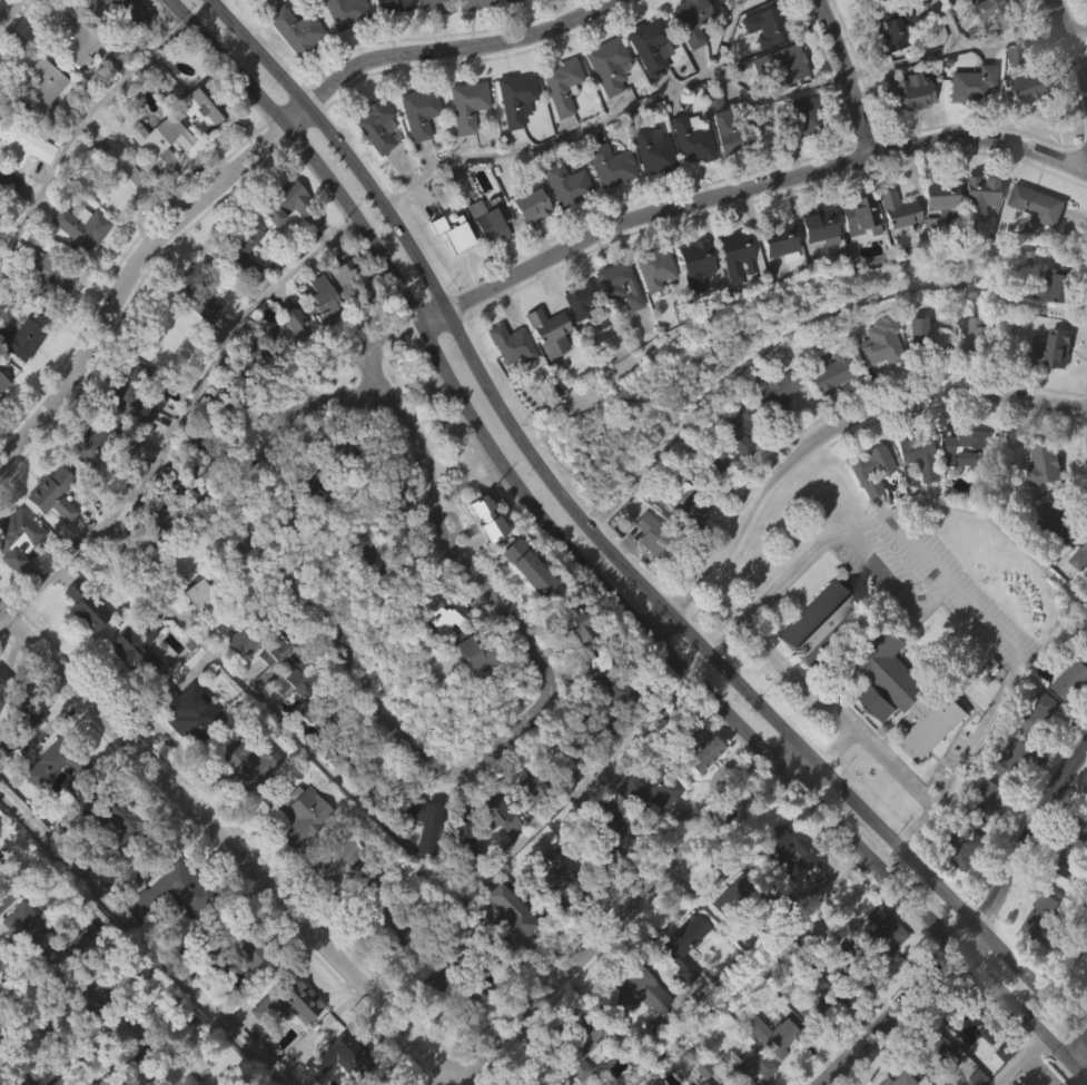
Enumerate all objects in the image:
building: (859, 0)
building: (506, 1)
building: (869, 1)
building: (583, 2)
building: (473, 3)
building: (391, 4)
building: (432, 4)
building: (553, 9)
building: (127, 10)
building: (342, 11)
building: (1001, 11)
building: (1083, 12)
building: (979, 13)
road: (9, 16)
building: (691, 20)
road: (946, 21)
building: (743, 22)
building: (765, 23)
building: (290, 27)
building: (895, 27)
building: (424, 29)
road: (1079, 34)
building: (383, 36)
building: (471, 37)
building: (82, 38)
road: (1070, 38)
building: (111, 43)
building: (645, 43)
road: (958, 43)
building: (337, 46)
building: (991, 51)
building: (685, 60)
building: (779, 62)
building: (604, 63)
building: (760, 68)
building: (888, 69)
building: (290, 71)
road: (849, 77)
building: (46, 82)
building: (560, 83)
building: (969, 83)
building: (1030, 85)
building: (645, 87)
building: (75, 88)
building: (913, 91)
building: (1007, 97)
building: (515, 99)
building: (205, 103)
building: (778, 103)
building: (463, 105)
building: (78, 107)
building: (602, 107)
building: (416, 111)
road: (613, 112)
building: (797, 118)
building: (967, 125)
building: (377, 126)
building: (39, 127)
building: (556, 127)
building: (1020, 127)
road: (78, 134)
building: (733, 134)
building: (908, 134)
building: (160, 138)
building: (511, 139)
building: (689, 139)
building: (22, 142)
building: (463, 146)
building: (196, 149)
building: (650, 149)
road: (250, 151)
building: (414, 154)
building: (799, 158)
building: (610, 165)
building: (372, 167)
building: (723, 175)
building: (125, 178)
building: (9, 179)
building: (686, 180)
building: (157, 183)
building: (563, 184)
road: (757, 187)
building: (649, 191)
building: (980, 193)
building: (940, 201)
building: (286, 204)
building: (1037, 204)
building: (526, 205)
building: (606, 207)
building: (899, 214)
building: (860, 216)
building: (118, 219)
building: (490, 219)
building: (7, 224)
building: (561, 225)
building: (820, 226)
building: (83, 227)
building: (452, 231)
building: (975, 231)
building: (779, 240)
building: (935, 244)
building: (281, 245)
building: (526, 246)
building: (1034, 246)
building: (240, 248)
building: (734, 254)
building: (891, 255)
building: (853, 257)
building: (485, 260)
building: (695, 263)
building: (433, 266)
building: (654, 268)
building: (813, 268)
building: (76, 270)
building: (51, 274)
building: (453, 276)
building: (616, 283)
building: (773, 283)
building: (1055, 286)
building: (355, 287)
building: (196, 288)
building: (238, 292)
building: (731, 297)
building: (324, 300)
building: (583, 303)
building: (690, 305)
building: (650, 309)
building: (45, 318)
building: (345, 319)
building: (615, 326)
building: (288, 327)
building: (1049, 327)
building: (546, 329)
building: (191, 332)
building: (979, 335)
building: (26, 337)
building: (576, 341)
building: (320, 343)
building: (879, 343)
building: (508, 344)
building: (1053, 349)
building: (247, 367)
building: (286, 368)
building: (829, 369)
building: (544, 373)
building: (972, 376)
building: (922, 382)
building: (2, 384)
building: (506, 385)
building: (874, 386)
road: (314, 388)
building: (774, 391)
building: (1049, 392)
building: (135, 394)
road: (339, 395)
building: (249, 400)
building: (226, 412)
building: (829, 413)
road: (181, 418)
building: (1, 426)
building: (740, 432)
building: (772, 432)
building: (127, 435)
road: (823, 438)
building: (205, 442)
building: (103, 443)
building: (336, 445)
building: (967, 448)
building: (921, 454)
building: (1044, 464)
building: (706, 468)
building: (871, 468)
building: (739, 473)
building: (177, 480)
building: (86, 484)
building: (122, 489)
building: (339, 489)
building: (966, 490)
building: (53, 493)
building: (920, 500)
building: (711, 503)
building: (299, 506)
building: (1040, 506)
building: (686, 507)
building: (866, 511)
building: (158, 515)
building: (486, 515)
building: (1059, 521)
building: (18, 535)
building: (652, 535)
building: (49, 536)
building: (686, 546)
road: (606, 555)
building: (481, 558)
building: (1079, 558)
building: (1055, 564)
building: (528, 565)
road: (585, 574)
building: (14, 578)
building: (649, 578)
road: (953, 585)
building: (202, 588)
building: (1078, 598)
building: (89, 606)
building: (441, 610)
building: (526, 612)
building: (575, 619)
road: (6, 622)
building: (820, 623)
building: (249, 633)
building: (194, 635)
building: (136, 647)
building: (473, 650)
building: (278, 652)
building: (85, 654)
building: (435, 654)
building: (595, 659)
building: (812, 661)
building: (570, 662)
building: (299, 677)
building: (1070, 680)
building: (238, 682)
building: (609, 689)
building: (131, 691)
building: (269, 693)
building: (906, 693)
building: (467, 697)
building: (591, 701)
building: (317, 708)
road: (837, 712)
building: (186, 713)
building: (1038, 713)
building: (17, 717)
road: (530, 718)
building: (296, 720)
building: (887, 721)
building: (1068, 722)
building: (595, 728)
building: (699, 739)
road: (832, 747)
building: (342, 748)
building: (18, 752)
building: (185, 754)
road: (783, 754)
building: (1016, 760)
building: (559, 761)
building: (244, 762)
building: (46, 769)
building: (593, 770)
building: (930, 770)
building: (1024, 778)
building: (379, 783)
building: (696, 786)
building: (648, 793)
building: (523, 796)
building: (554, 797)
building: (990, 802)
building: (240, 806)
building: (39, 810)
building: (297, 815)
building: (1083, 821)
building: (118, 823)
building: (525, 832)
building: (457, 834)
building: (603, 837)
building: (642, 837)
building: (964, 841)
building: (984, 842)
building: (783, 850)
building: (296, 856)
building: (495, 857)
building: (1073, 859)
building: (109, 860)
building: (345, 865)
building: (419, 865)
building: (604, 868)
building: (561, 878)
building: (458, 879)
building: (965, 884)
building: (170, 892)
building: (781, 892)
building: (8, 896)
building: (739, 898)
building: (1068, 899)
building: (339, 906)
building: (552, 913)
building: (1041, 918)
building: (384, 921)
building: (506, 923)
building: (27, 924)
building: (885, 934)
road: (974, 934)
building: (167, 935)
building: (729, 938)
building: (246, 943)
building: (684, 944)
building: (70, 948)
building: (847, 956)
building: (1038, 960)
building: (502, 961)
building: (21, 966)
building: (878, 975)
building: (1078, 975)
building: (448, 984)
building: (680, 986)
building: (58, 989)
building: (241, 996)
road: (379, 996)
building: (636, 997)
building: (97, 999)
building: (283, 999)
building: (818, 1009)
building: (1079, 1010)
building: (970, 1024)
building: (80, 1030)
building: (118, 1032)
building: (632, 1037)
building: (283, 1043)
building: (581, 1043)
road: (41, 1045)
building: (0, 1051)
building: (336, 1053)
building: (931, 1053)
road: (1015, 1059)
road: (1079, 1059)
building: (156, 1065)
building: (745, 1067)
road: (1036, 1069)
building: (969, 1071)
building: (111, 1072)
building: (16, 1074)
building: (580, 1074)
building: (796, 1076)
building: (338, 1079)
building: (900, 1079)
building: (186, 1081)
building: (771, 1081)
building: (931, 1081)
building: (700, 1083)
building: (1000, 1083)
building: (1015, 1083)
building: (377, 1084)
building: (533, 1084)

